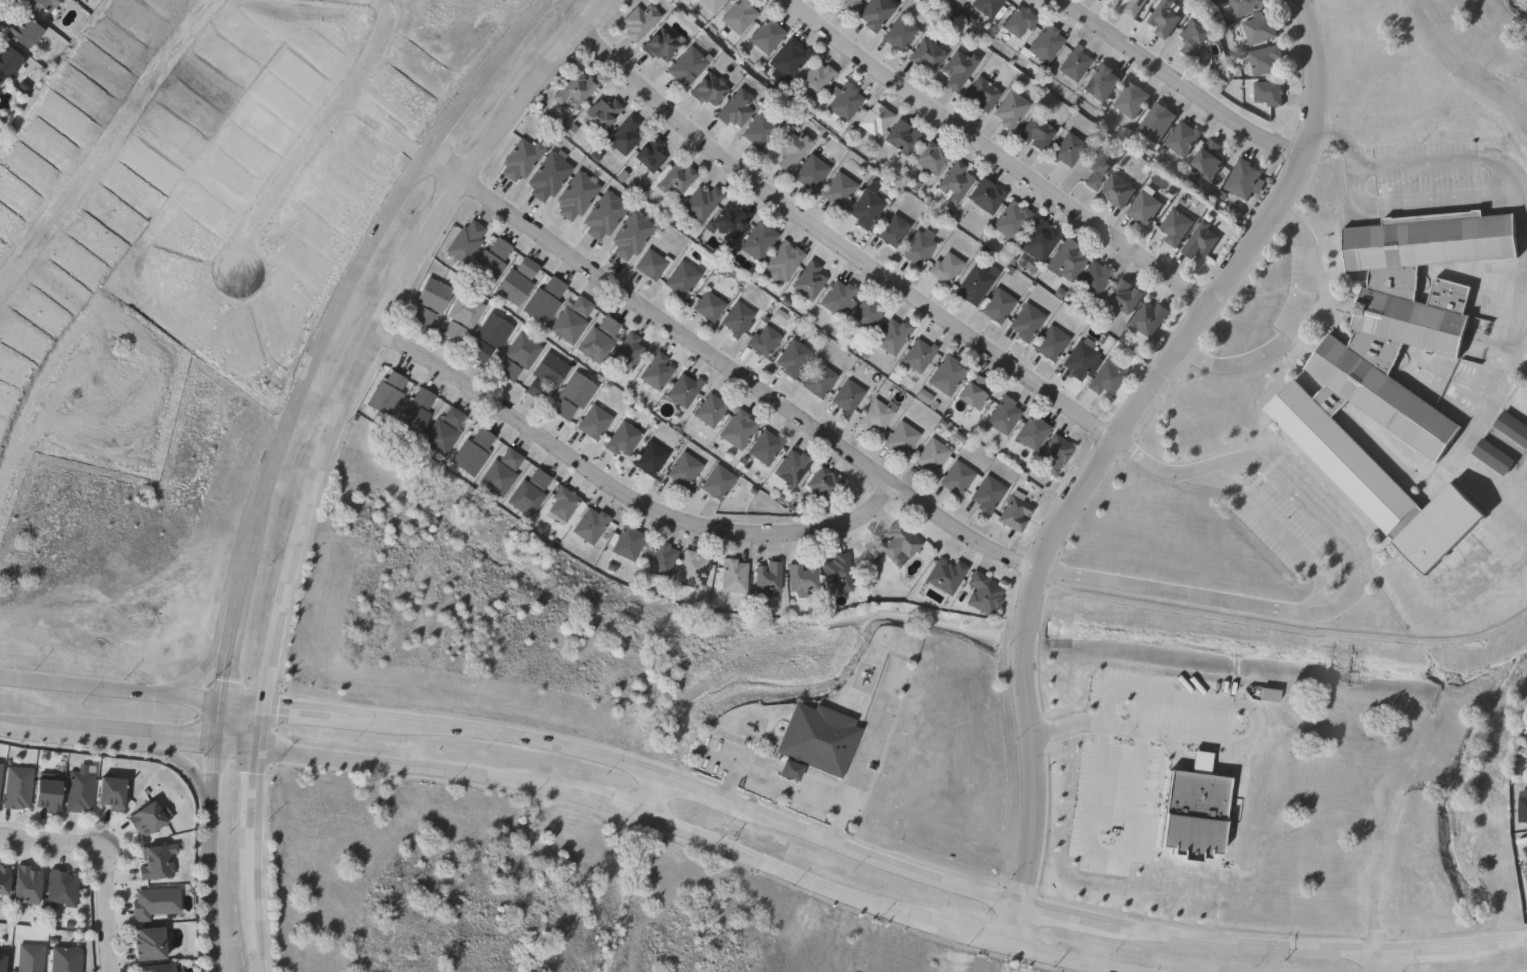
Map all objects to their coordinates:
building: (835, 0)
building: (1107, 0)
building: (1108, 0)
building: (958, 1)
building: (46, 4)
building: (709, 4)
building: (846, 5)
building: (985, 6)
building: (1133, 7)
building: (1243, 7)
building: (873, 13)
building: (736, 14)
park: (1513, 15)
building: (1164, 18)
building: (1018, 20)
building: (637, 21)
building: (1258, 28)
building: (29, 32)
building: (897, 33)
building: (764, 35)
building: (1192, 38)
building: (1043, 44)
building: (658, 45)
building: (925, 55)
building: (786, 59)
building: (11, 60)
building: (1263, 60)
building: (1073, 63)
building: (684, 65)
building: (956, 68)
building: (813, 78)
road: (1184, 79)
building: (1100, 82)
building: (2, 84)
road: (1456, 84)
building: (706, 88)
building: (573, 89)
building: (980, 93)
building: (1267, 93)
building: (1130, 100)
building: (843, 101)
building: (732, 108)
building: (1008, 109)
building: (598, 112)
road: (387, 118)
building: (873, 119)
building: (1155, 121)
building: (1036, 130)
building: (757, 131)
building: (622, 135)
road: (316, 136)
building: (900, 137)
building: (1181, 138)
road: (1338, 141)
road: (104, 143)
building: (788, 149)
building: (1065, 149)
road: (1002, 153)
building: (647, 154)
building: (928, 156)
building: (518, 158)
building: (1207, 160)
road: (1433, 161)
building: (1096, 166)
building: (808, 171)
building: (546, 175)
building: (674, 178)
building: (1241, 179)
building: (952, 182)
building: (836, 190)
building: (1116, 190)
building: (574, 195)
building: (984, 195)
road: (1416, 196)
building: (699, 202)
building: (864, 208)
building: (1144, 208)
road: (1521, 208)
building: (602, 215)
building: (1010, 220)
building: (726, 221)
building: (1175, 227)
building: (889, 230)
building: (629, 235)
road: (840, 239)
building: (756, 240)
building: (1038, 240)
building: (1200, 240)
building: (462, 241)
building: (916, 246)
building: (1065, 259)
building: (781, 260)
building: (487, 262)
building: (650, 264)
building: (943, 269)
building: (1092, 278)
building: (514, 279)
building: (679, 279)
building: (807, 280)
building: (974, 284)
building: (431, 295)
building: (1124, 296)
building: (836, 298)
building: (541, 300)
building: (996, 305)
building: (706, 306)
building: (463, 310)
building: (864, 315)
building: (421, 316)
building: (735, 318)
building: (1147, 319)
building: (568, 320)
building: (1025, 322)
road: (1292, 323)
building: (607, 325)
building: (451, 331)
building: (492, 331)
building: (890, 336)
building: (762, 341)
building: (1049, 343)
building: (592, 345)
building: (478, 351)
building: (520, 351)
building: (625, 352)
building: (917, 355)
building: (791, 359)
building: (1078, 360)
road: (727, 362)
building: (506, 370)
building: (548, 370)
road: (1503, 370)
building: (653, 371)
building: (944, 375)
building: (1104, 378)
building: (817, 380)
building: (575, 389)
building: (533, 390)
building: (681, 390)
building: (970, 393)
building: (384, 394)
building: (1366, 394)
building: (846, 397)
building: (562, 409)
building: (708, 409)
building: (411, 413)
building: (875, 415)
building: (1001, 416)
building: (592, 422)
building: (1512, 428)
building: (735, 429)
building: (441, 432)
building: (1030, 432)
building: (620, 439)
building: (900, 439)
building: (763, 447)
road: (325, 449)
road: (276, 451)
road: (1106, 451)
building: (470, 452)
building: (1053, 453)
building: (930, 457)
building: (1492, 457)
building: (647, 458)
building: (788, 468)
building: (682, 471)
building: (499, 472)
building: (957, 479)
building: (716, 482)
building: (822, 483)
road: (624, 491)
building: (527, 492)
building: (986, 494)
building: (561, 503)
building: (1013, 512)
building: (588, 526)
building: (896, 542)
building: (626, 543)
building: (658, 560)
building: (689, 570)
building: (837, 572)
building: (731, 576)
building: (944, 576)
building: (765, 579)
building: (800, 579)
road: (1352, 585)
building: (981, 593)
road: (192, 672)
road: (107, 687)
road: (1183, 695)
road: (1132, 728)
road: (106, 734)
building: (817, 742)
road: (175, 759)
building: (1526, 768)
building: (2, 776)
building: (20, 787)
road: (785, 787)
road: (650, 788)
building: (71, 791)
building: (118, 792)
building: (1522, 809)
building: (153, 817)
road: (675, 822)
road: (50, 841)
road: (866, 846)
building: (1525, 852)
road: (1107, 854)
building: (154, 861)
building: (0, 863)
building: (7, 880)
building: (32, 884)
building: (65, 889)
building: (152, 902)
road: (101, 910)
building: (143, 942)
road: (1378, 957)
building: (33, 958)
building: (68, 959)
building: (5, 963)
building: (151, 967)

